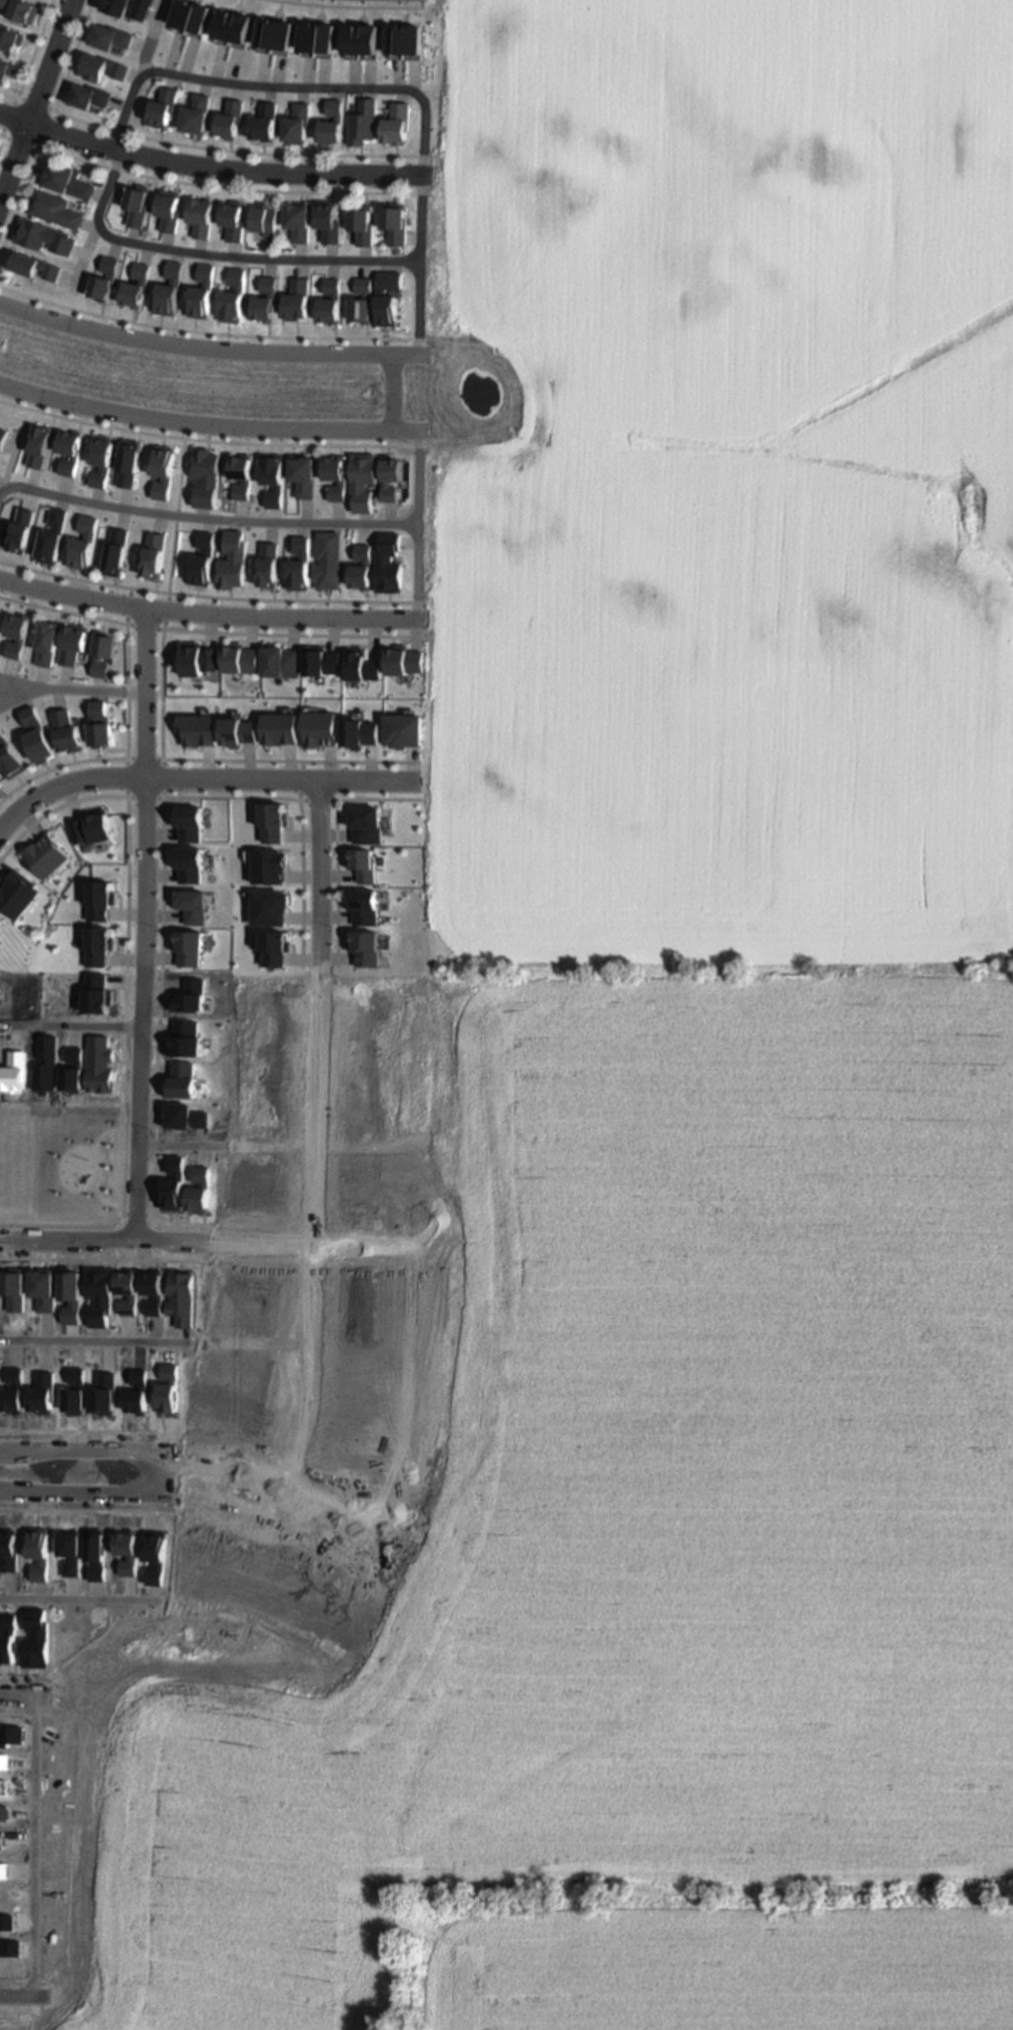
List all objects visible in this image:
road: (347, 5)
building: (128, 7)
building: (21, 9)
building: (316, 34)
building: (108, 35)
building: (273, 36)
building: (360, 36)
building: (404, 36)
building: (10, 37)
road: (32, 49)
road: (142, 55)
road: (70, 56)
building: (99, 66)
building: (6, 71)
road: (366, 91)
building: (87, 94)
road: (6, 97)
road: (34, 99)
road: (33, 105)
building: (161, 106)
building: (195, 113)
road: (4, 115)
building: (229, 117)
building: (263, 121)
building: (331, 121)
building: (362, 121)
building: (296, 122)
building: (396, 122)
road: (45, 133)
road: (3, 137)
road: (20, 146)
road: (238, 153)
road: (206, 166)
building: (65, 179)
road: (231, 190)
road: (19, 199)
building: (136, 204)
building: (55, 208)
building: (169, 209)
building: (201, 217)
building: (265, 219)
building: (233, 220)
building: (329, 220)
building: (299, 221)
building: (396, 222)
building: (363, 224)
building: (44, 235)
road: (216, 254)
road: (84, 257)
building: (35, 264)
building: (106, 278)
building: (138, 285)
building: (171, 289)
building: (204, 291)
building: (235, 296)
building: (390, 297)
building: (268, 298)
building: (300, 298)
building: (333, 300)
building: (364, 300)
road: (211, 336)
road: (193, 349)
road: (409, 357)
road: (392, 393)
road: (193, 424)
road: (406, 430)
building: (3, 436)
road: (207, 441)
building: (40, 445)
building: (71, 450)
building: (103, 460)
building: (130, 462)
building: (163, 469)
building: (303, 474)
building: (241, 475)
building: (205, 476)
building: (390, 476)
building: (335, 477)
building: (273, 478)
building: (362, 479)
road: (206, 519)
road: (174, 520)
road: (417, 524)
building: (22, 530)
building: (53, 536)
building: (85, 543)
building: (117, 552)
building: (154, 554)
building: (232, 559)
building: (327, 559)
building: (202, 560)
building: (388, 563)
building: (267, 564)
building: (298, 565)
building: (361, 567)
road: (83, 582)
road: (207, 615)
road: (208, 625)
building: (16, 634)
building: (46, 642)
building: (72, 643)
building: (102, 652)
building: (197, 658)
building: (239, 658)
building: (280, 660)
building: (321, 660)
building: (403, 660)
building: (361, 665)
road: (70, 689)
road: (14, 697)
building: (98, 723)
building: (280, 727)
building: (321, 728)
building: (196, 729)
building: (403, 729)
building: (65, 731)
building: (238, 731)
building: (361, 732)
building: (36, 735)
building: (9, 758)
road: (204, 759)
road: (151, 779)
road: (369, 781)
road: (159, 783)
road: (225, 796)
road: (374, 798)
building: (272, 820)
building: (186, 822)
building: (365, 823)
building: (89, 827)
building: (43, 855)
building: (185, 863)
building: (360, 864)
building: (266, 865)
road: (300, 879)
road: (334, 882)
building: (15, 893)
building: (97, 899)
building: (188, 905)
building: (265, 906)
building: (360, 906)
road: (142, 924)
crop: (759, 932)
building: (97, 945)
building: (185, 947)
building: (272, 947)
building: (361, 947)
road: (70, 1022)
road: (313, 1131)
road: (291, 1144)
park: (69, 1169)
road: (224, 1240)
building: (14, 1289)
building: (44, 1289)
building: (129, 1292)
building: (155, 1292)
building: (72, 1295)
building: (101, 1296)
building: (184, 1299)
road: (155, 1340)
building: (171, 1388)
building: (14, 1392)
building: (77, 1392)
building: (43, 1393)
building: (139, 1393)
building: (106, 1394)
road: (91, 1431)
road: (144, 1445)
road: (163, 1468)
road: (136, 1491)
road: (276, 1501)
road: (349, 1505)
road: (86, 1509)
road: (465, 1509)
road: (488, 1521)
road: (323, 1551)
road: (493, 1560)
road: (206, 1604)
road: (393, 1660)
road: (413, 1670)
road: (191, 1698)
road: (36, 1843)
road: (233, 1858)
road: (354, 1859)
road: (133, 1860)
road: (176, 1989)
road: (329, 2021)

